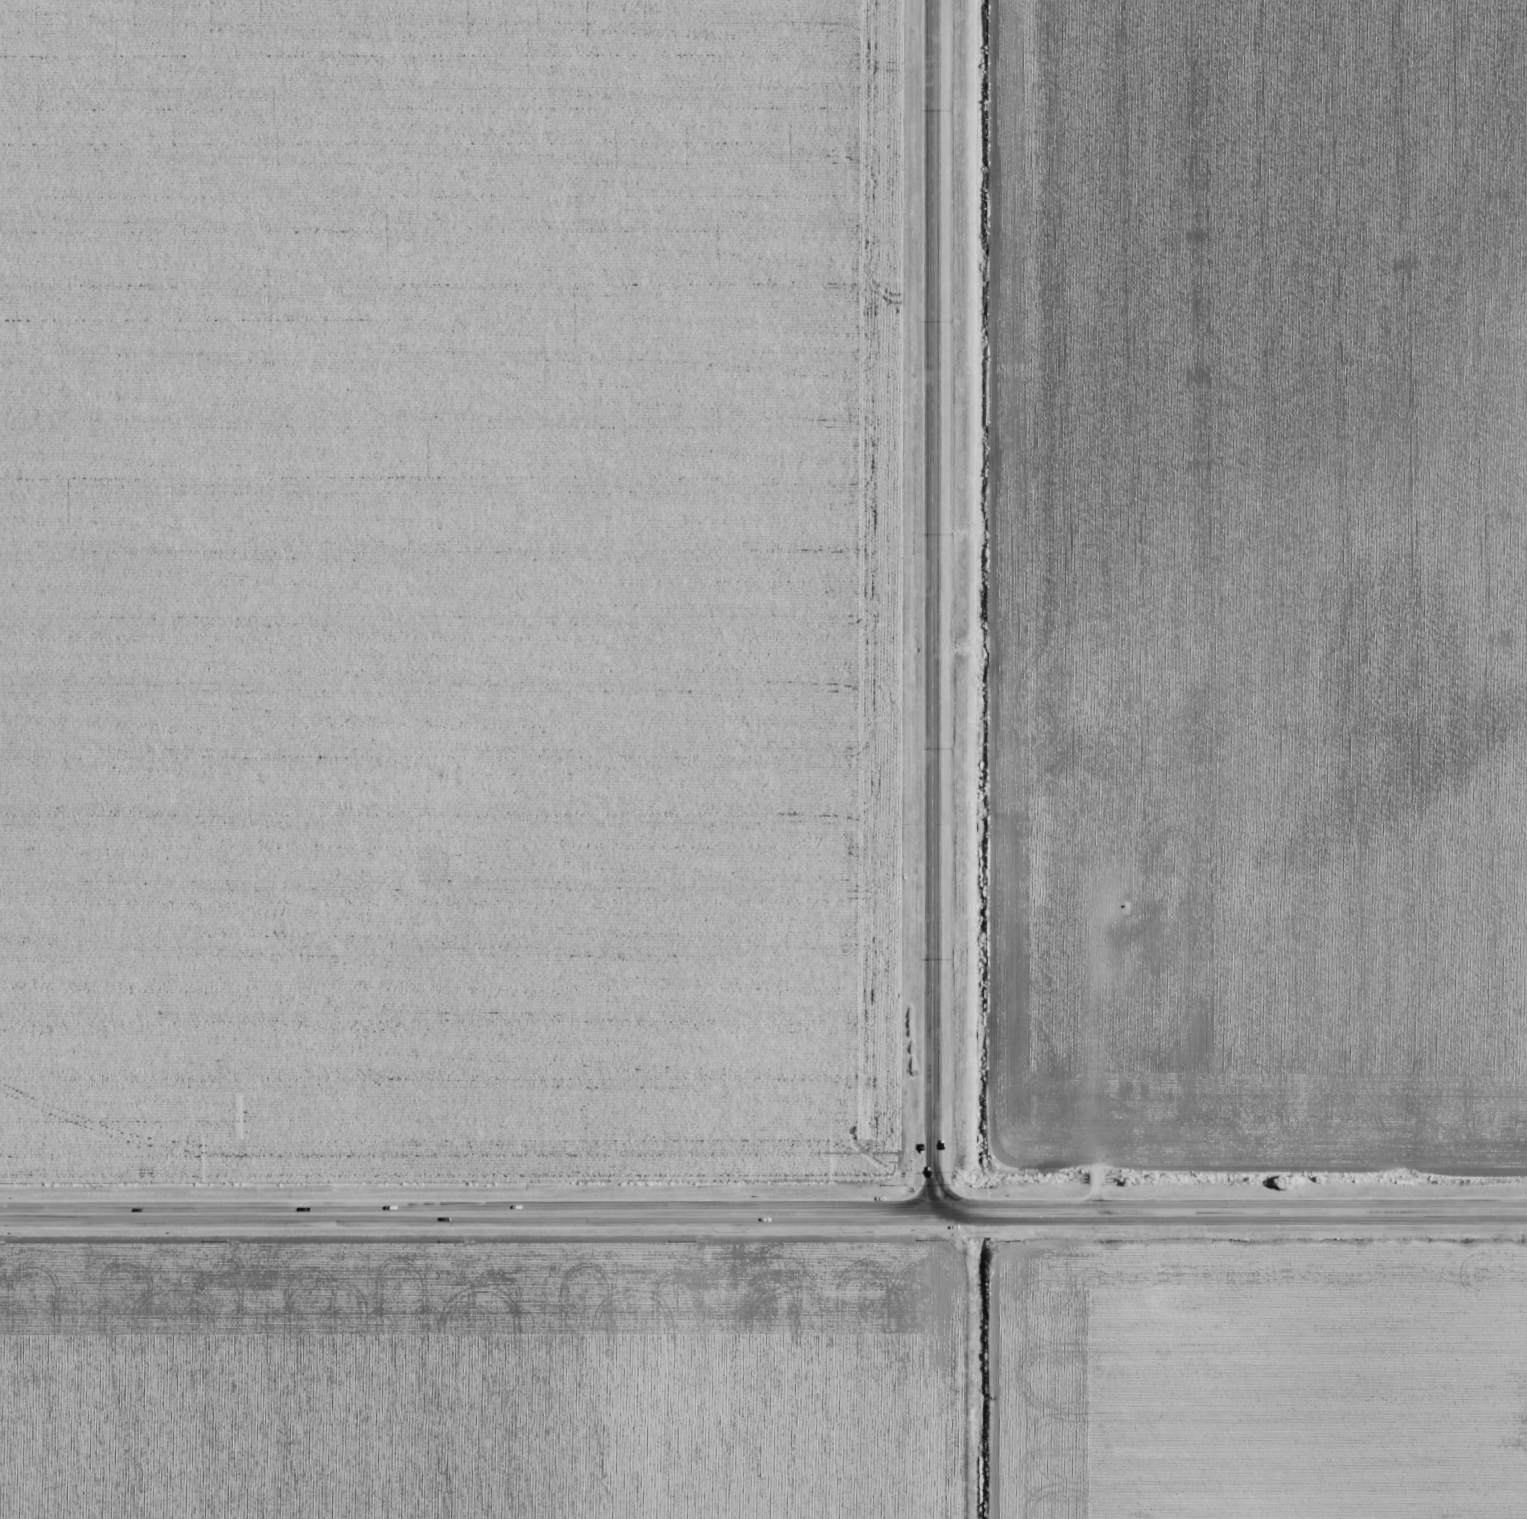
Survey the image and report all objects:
road: (932, 607)
road: (763, 1213)

